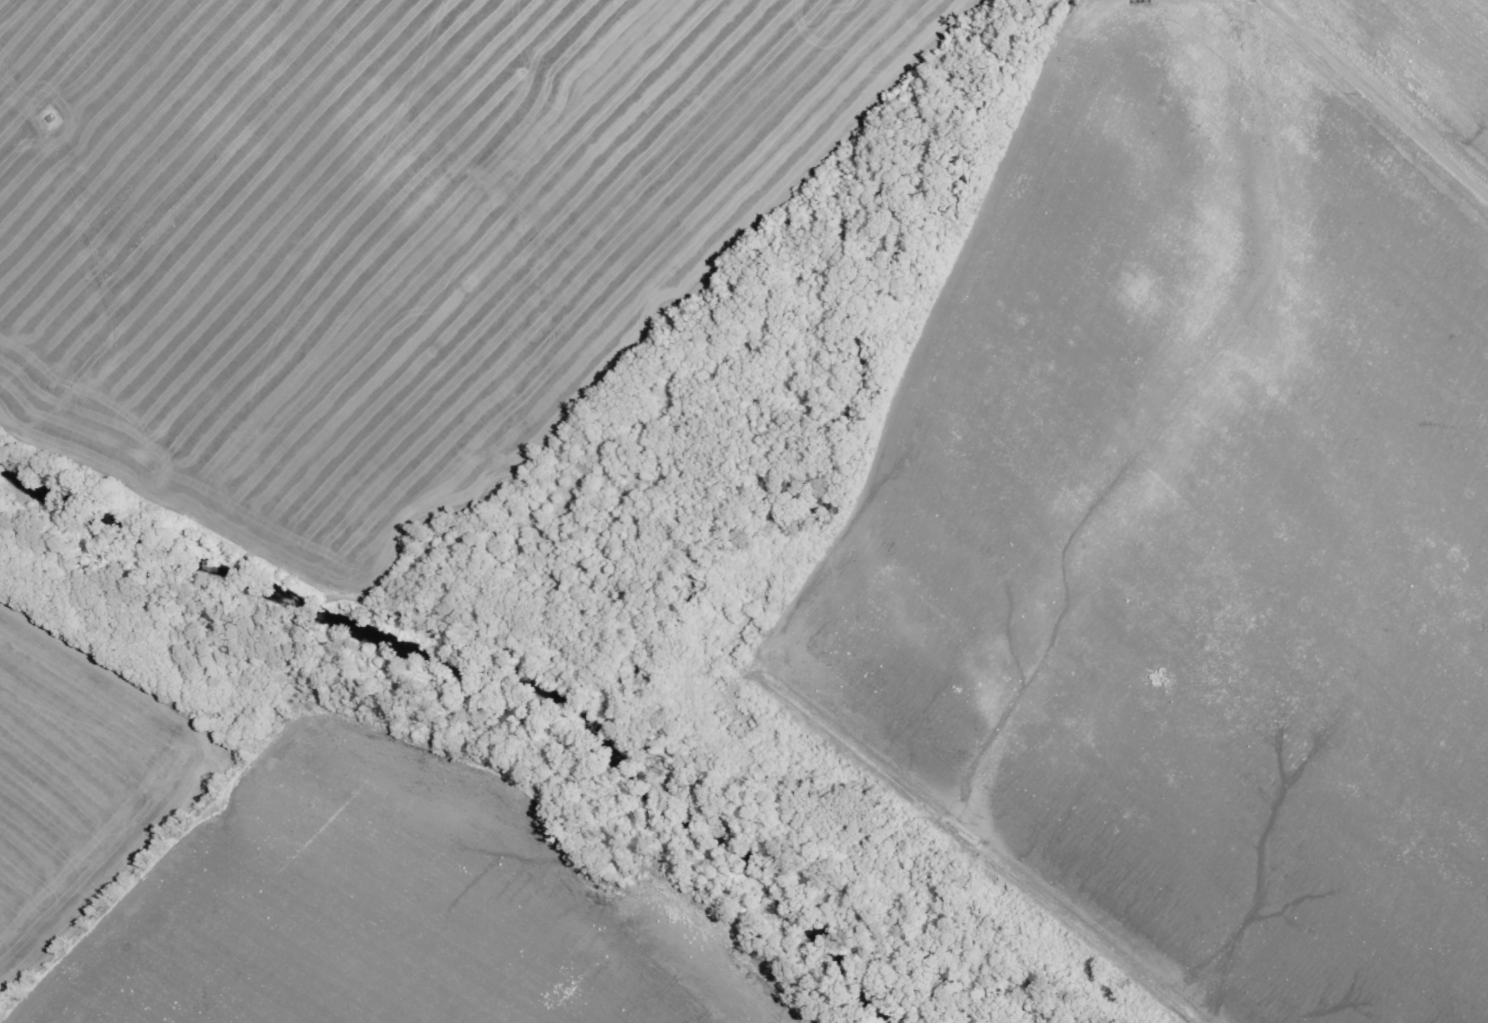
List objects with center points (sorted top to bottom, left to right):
road: (1364, 109)

